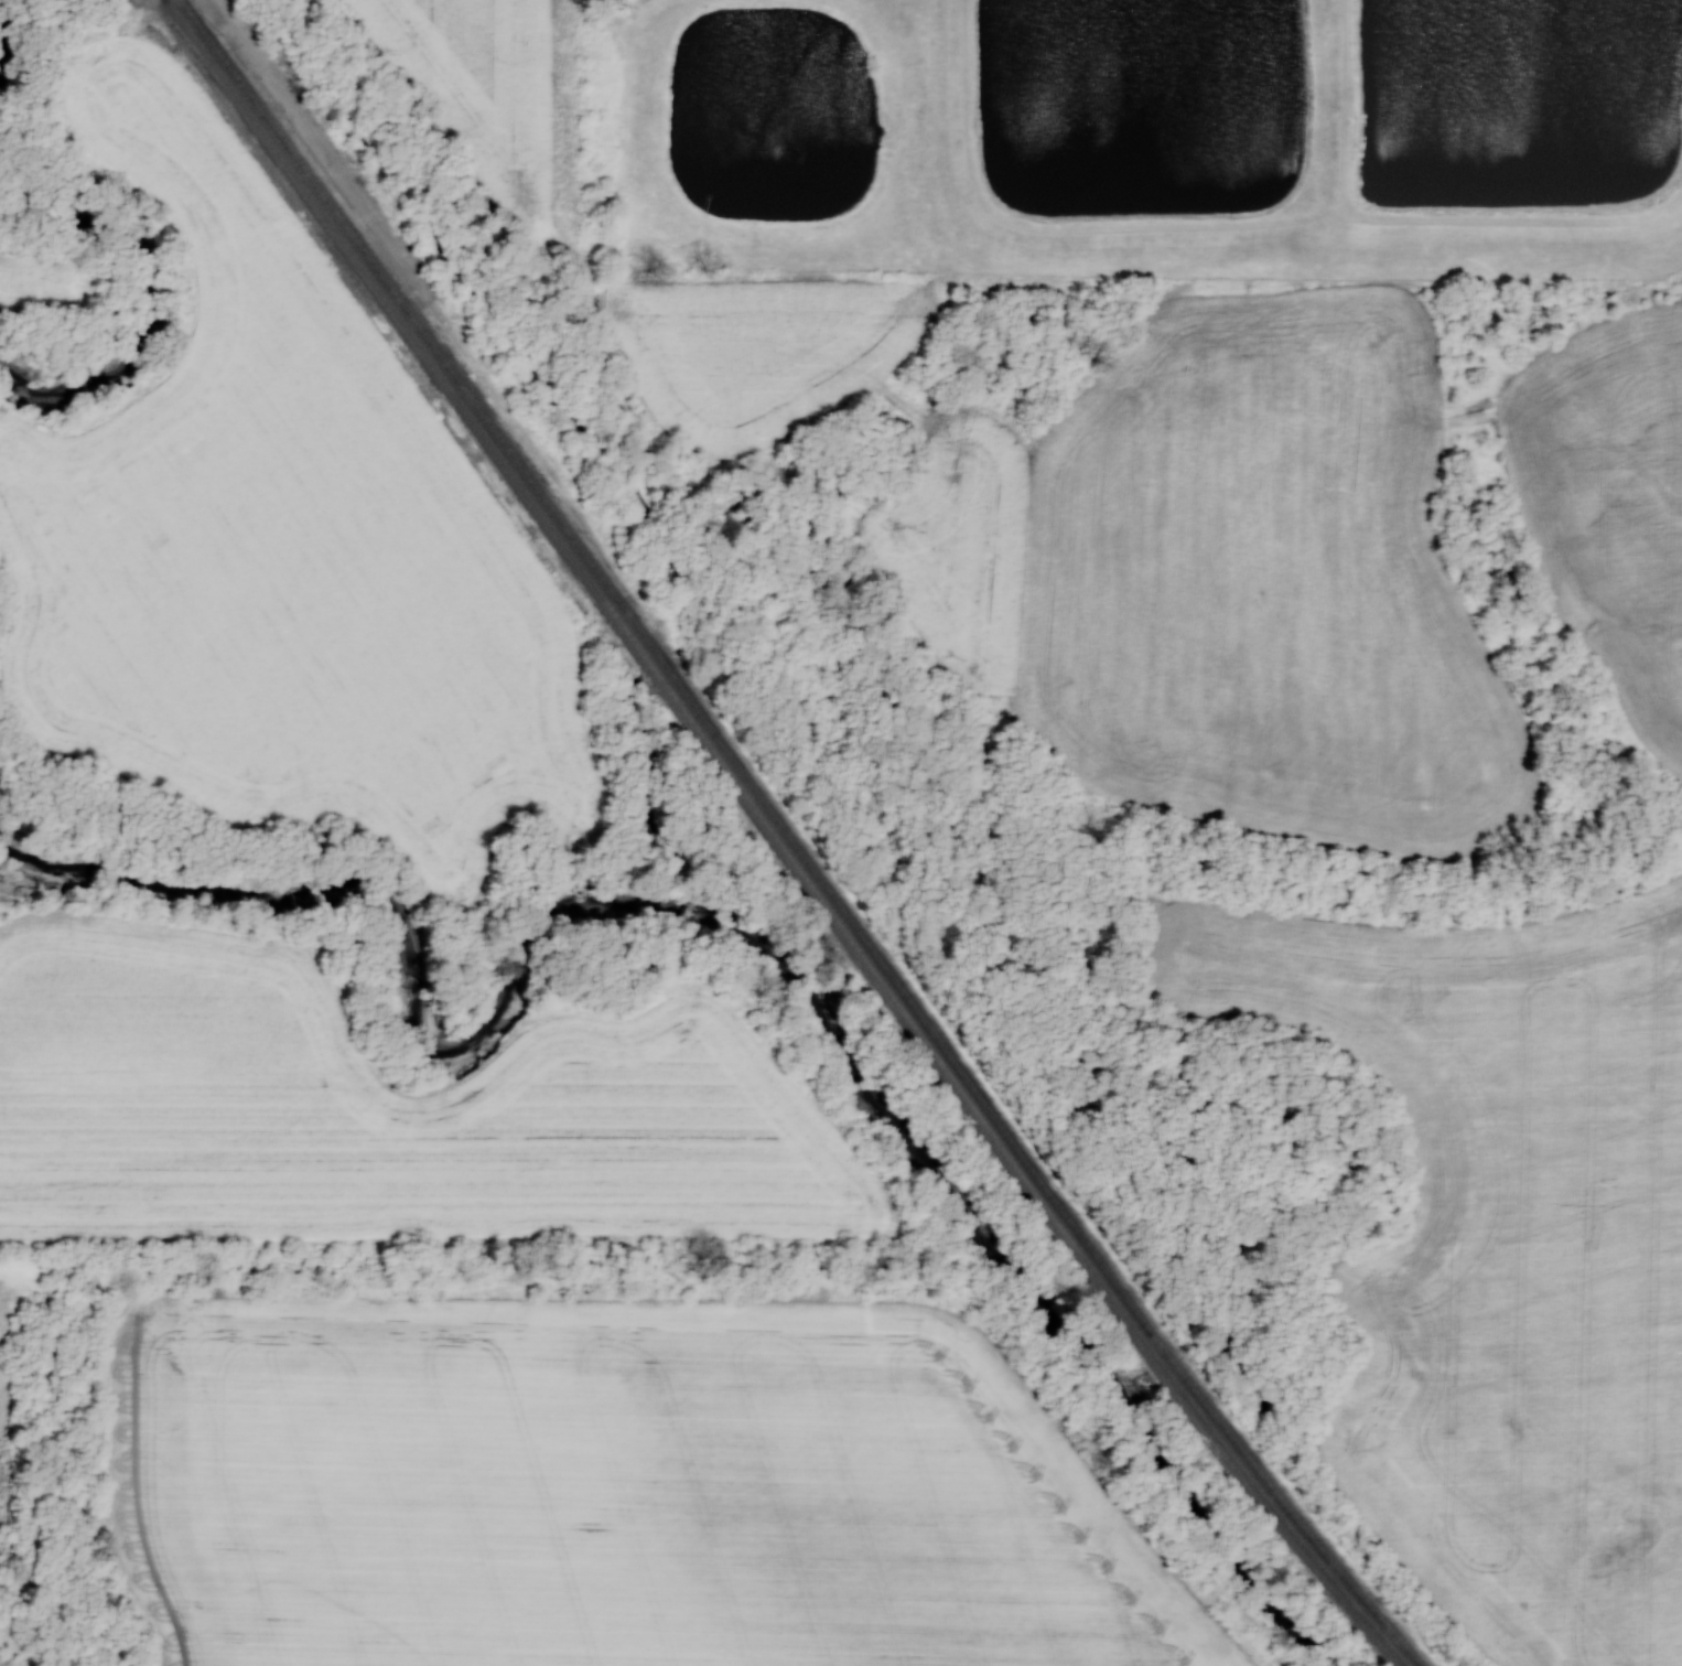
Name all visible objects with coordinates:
railway: (634, 623)
railway: (777, 839)
railway: (1250, 1461)

